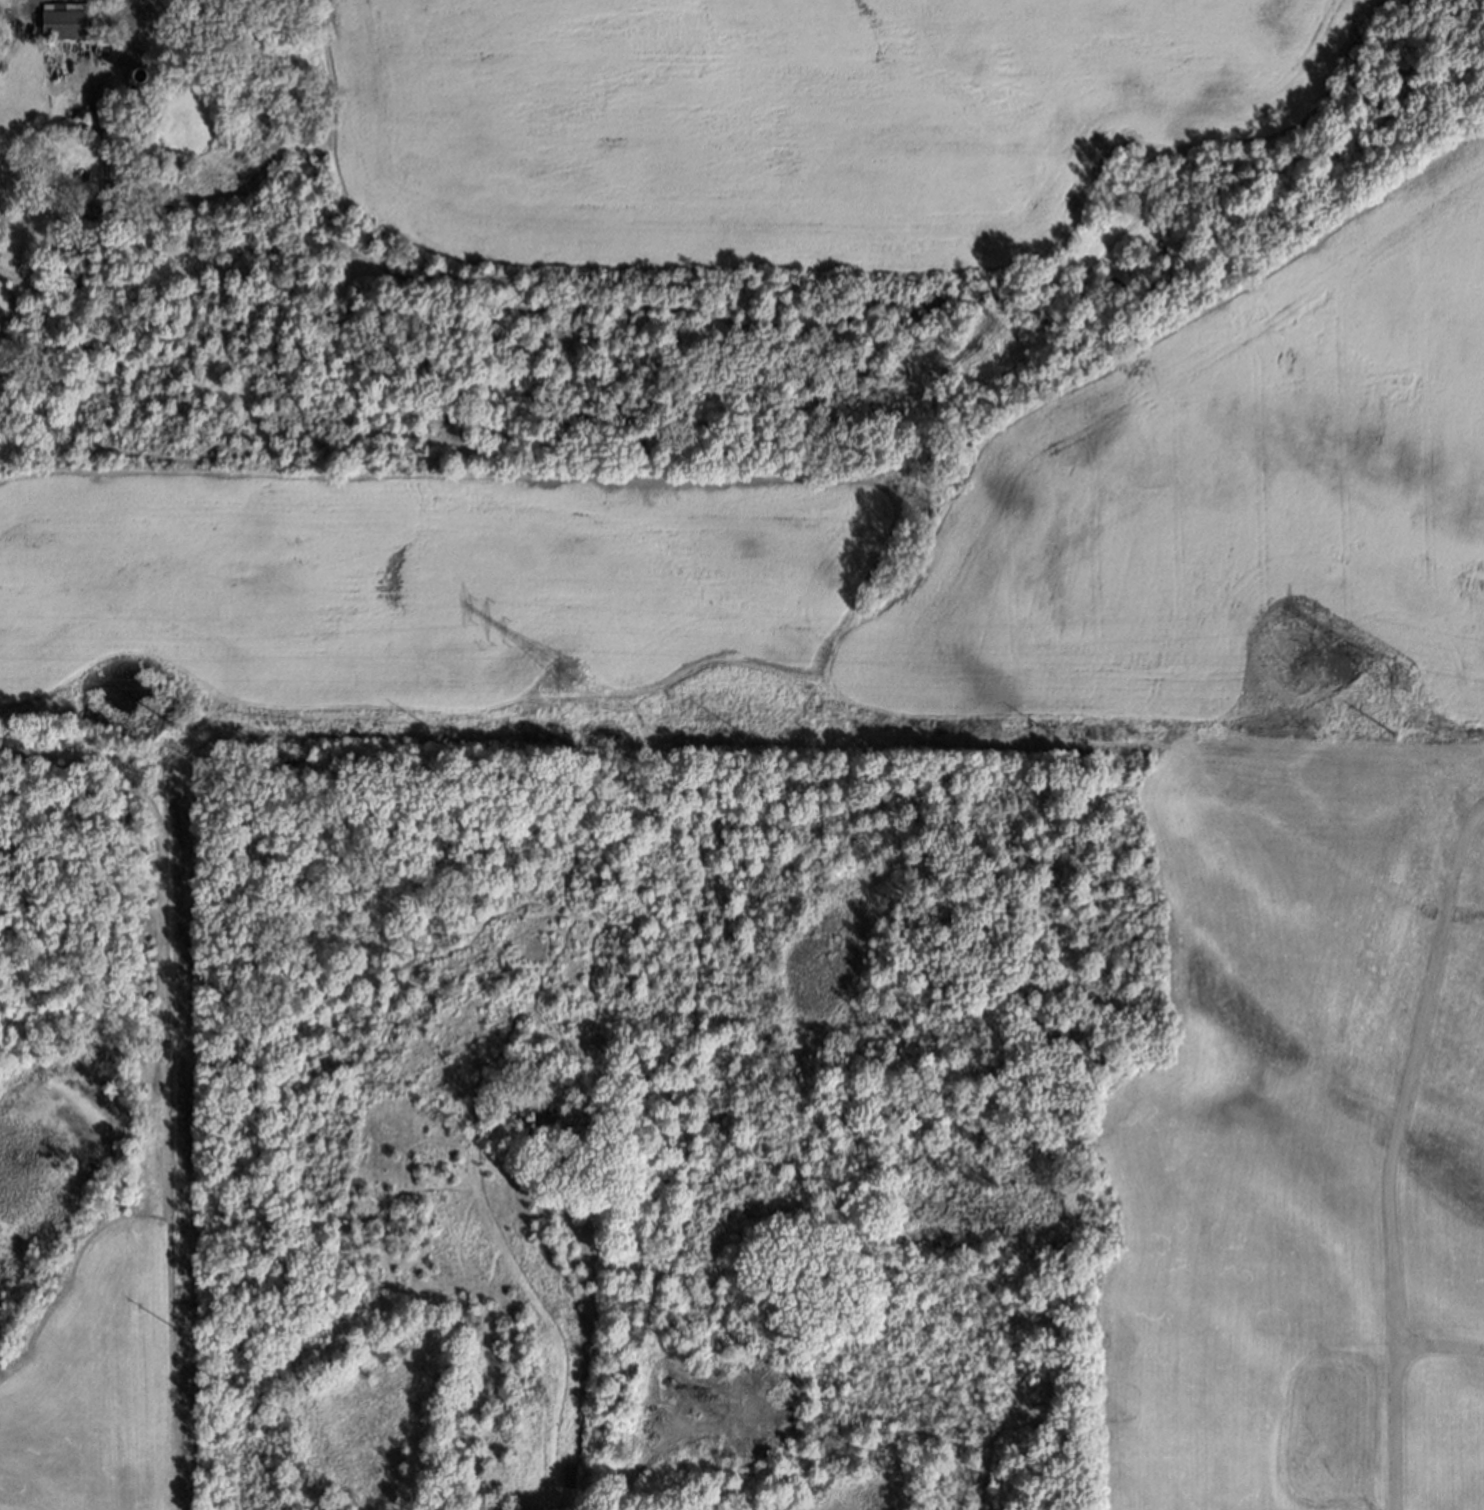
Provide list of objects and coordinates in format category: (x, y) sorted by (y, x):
building: (61, 22)
building: (139, 72)
power tower: (567, 677)
power tower: (1398, 686)
power tower: (169, 722)
power tower: (1392, 732)
road: (1391, 1149)
road: (1439, 1345)
road: (1179, 1347)
parking lot: (1299, 1433)
building: (572, 1478)

